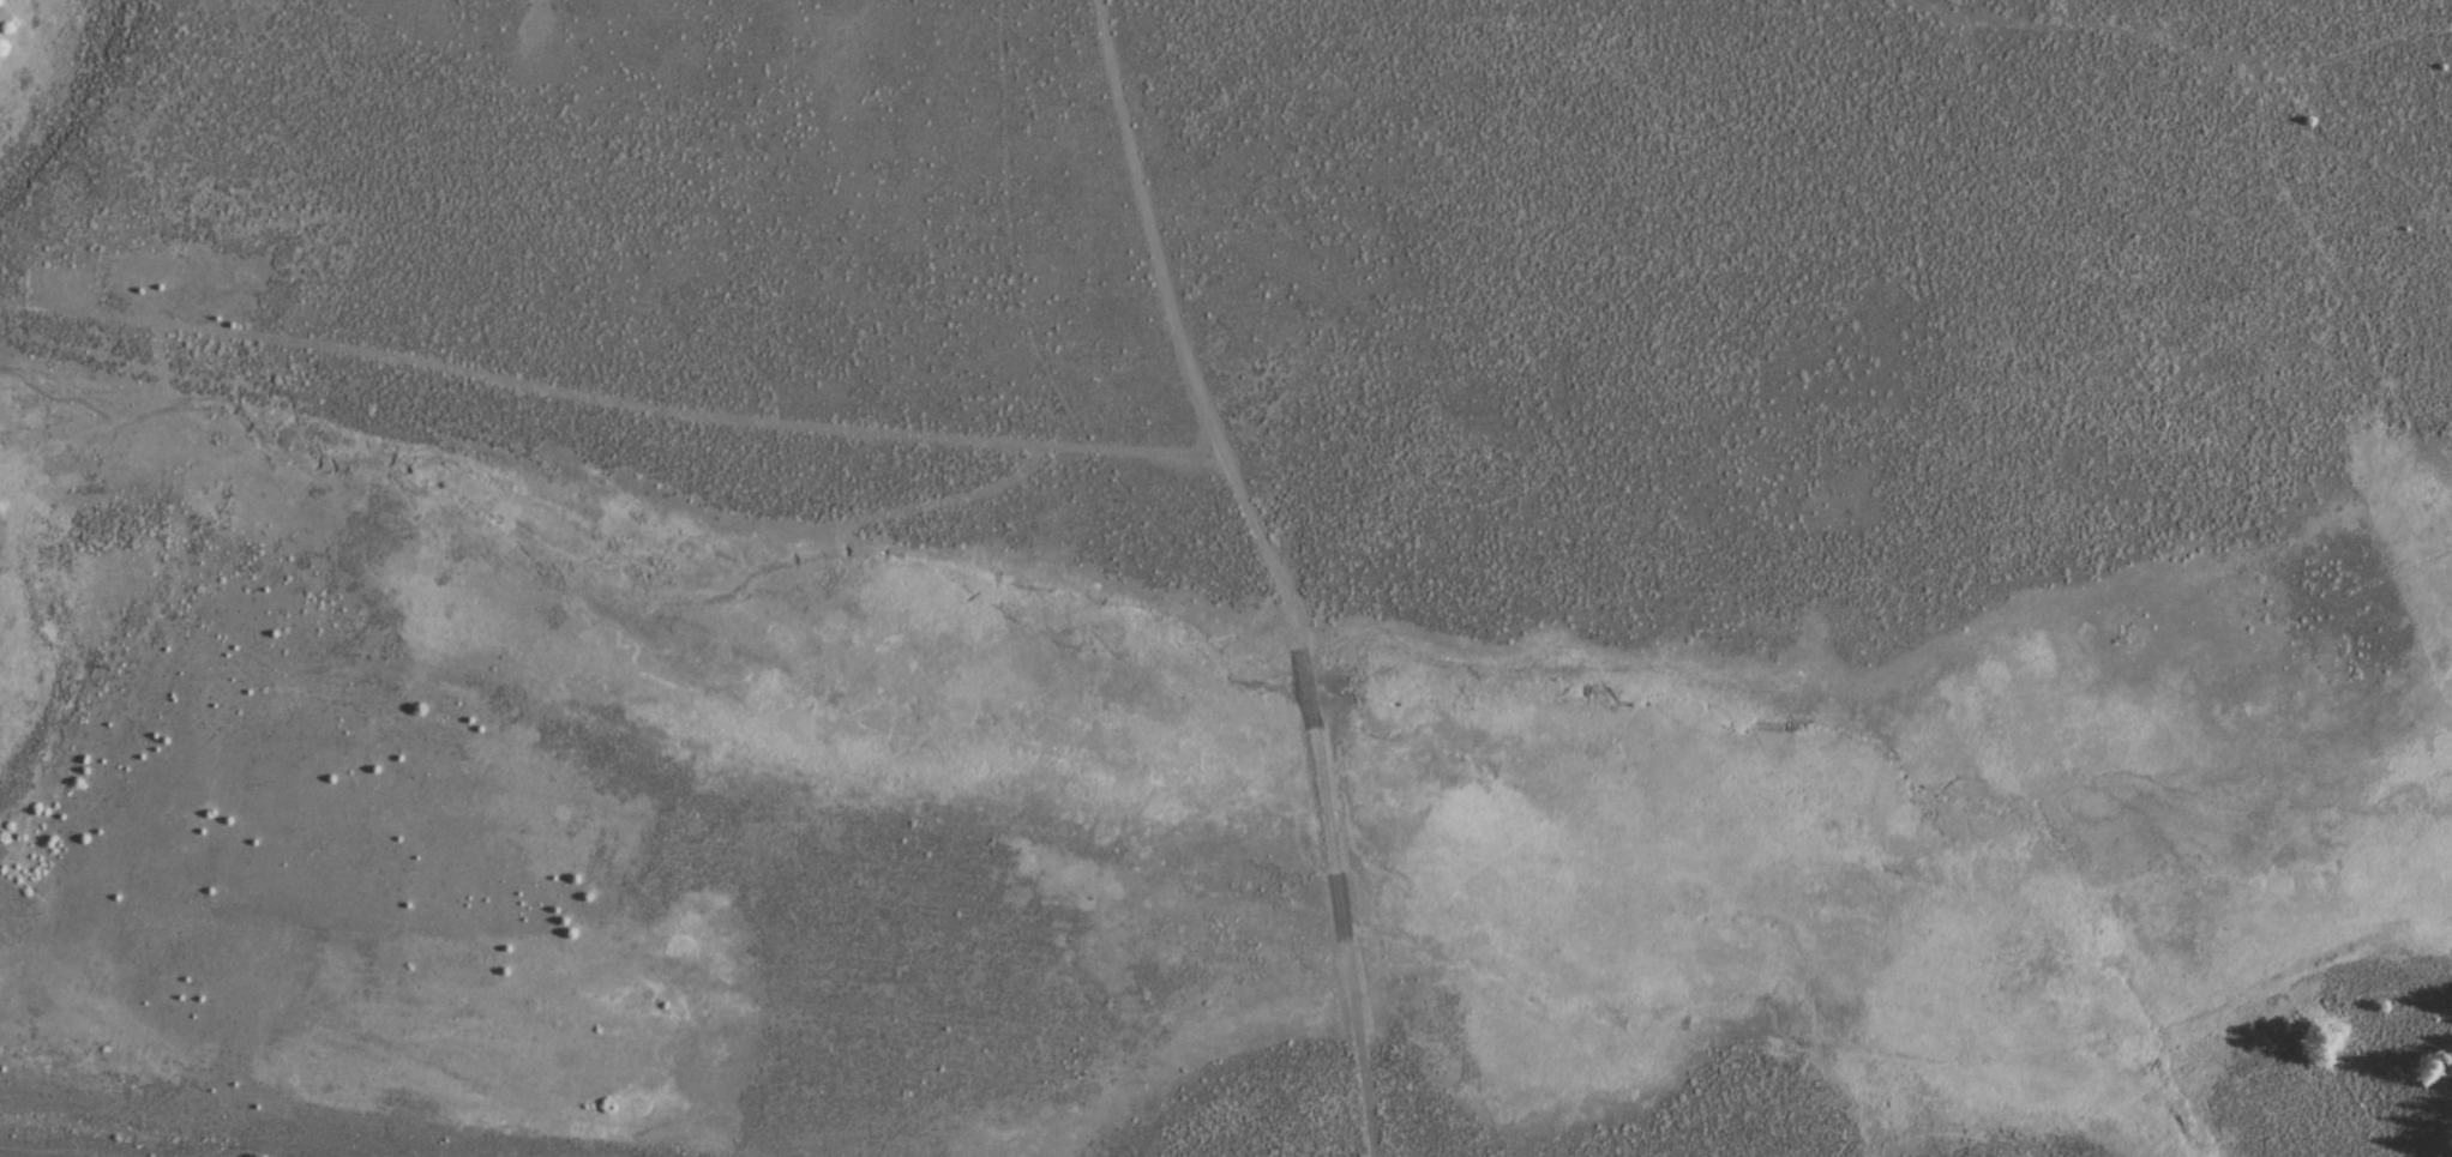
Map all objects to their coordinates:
road: (1122, 139)
road: (1304, 705)

